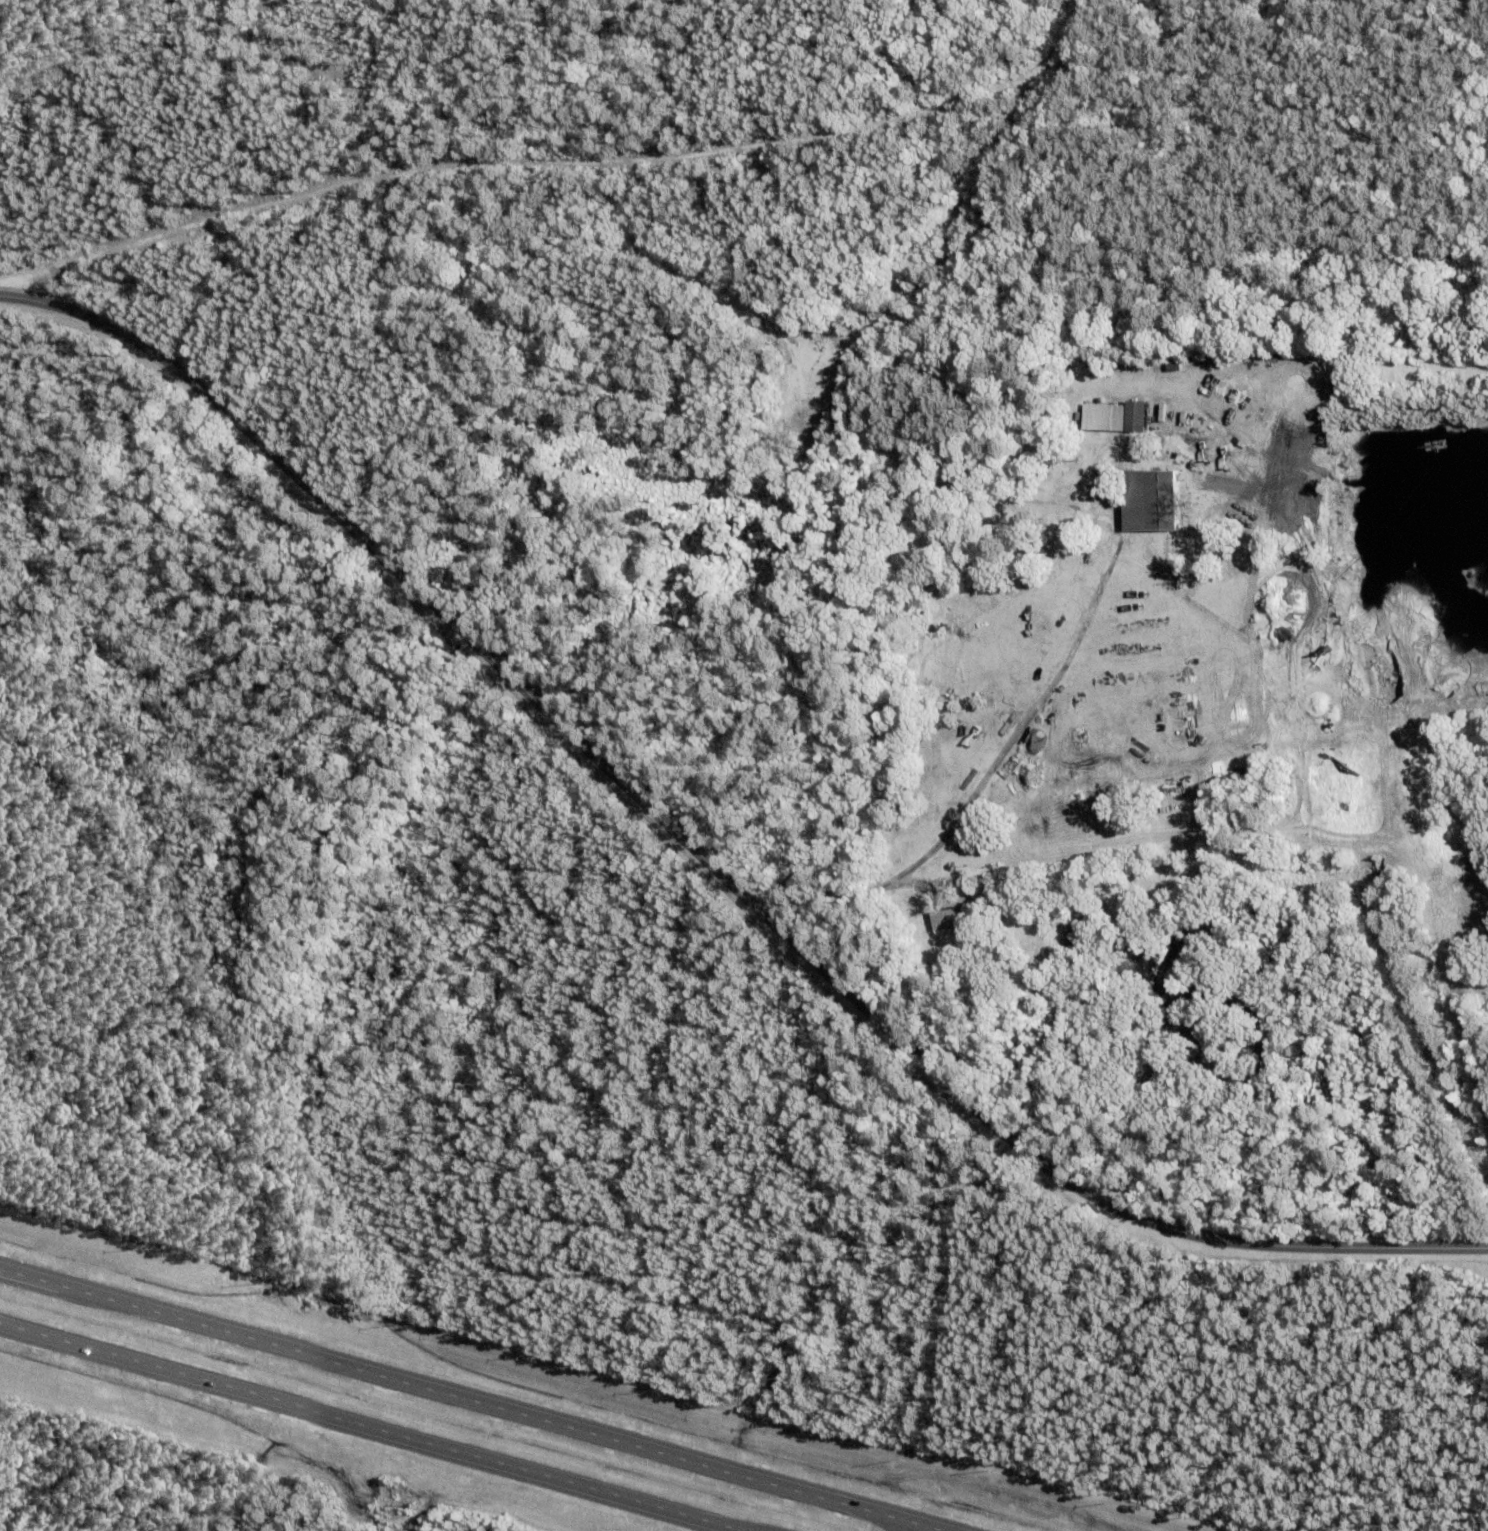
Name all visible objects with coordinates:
road: (1204, 37)
road: (557, 164)
building: (1113, 416)
building: (1106, 444)
building: (1162, 500)
building: (1336, 746)
road: (990, 776)
building: (1345, 796)
road: (708, 858)
building: (947, 917)
road: (1446, 976)
road: (458, 1395)
road: (372, 1426)
road: (916, 1527)
road: (929, 1527)

